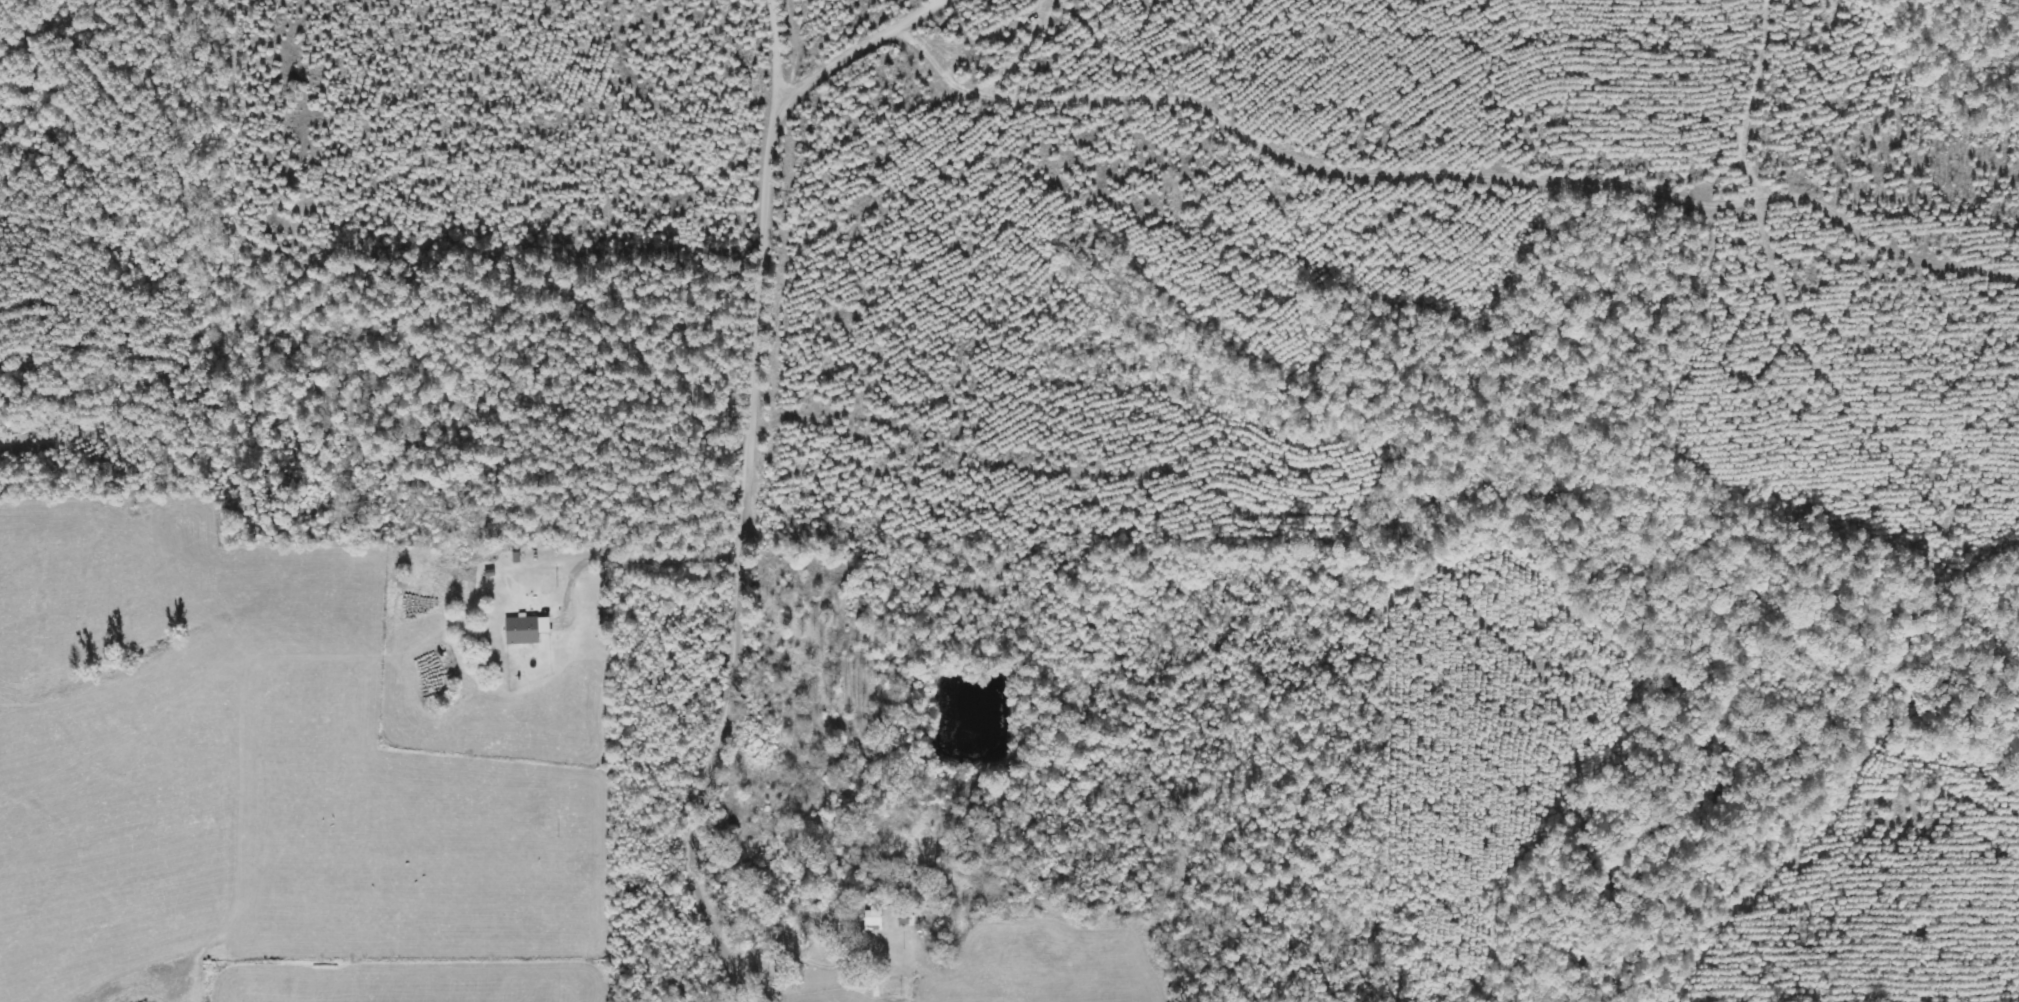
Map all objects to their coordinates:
road: (859, 56)
road: (753, 509)
building: (523, 629)
building: (873, 918)

